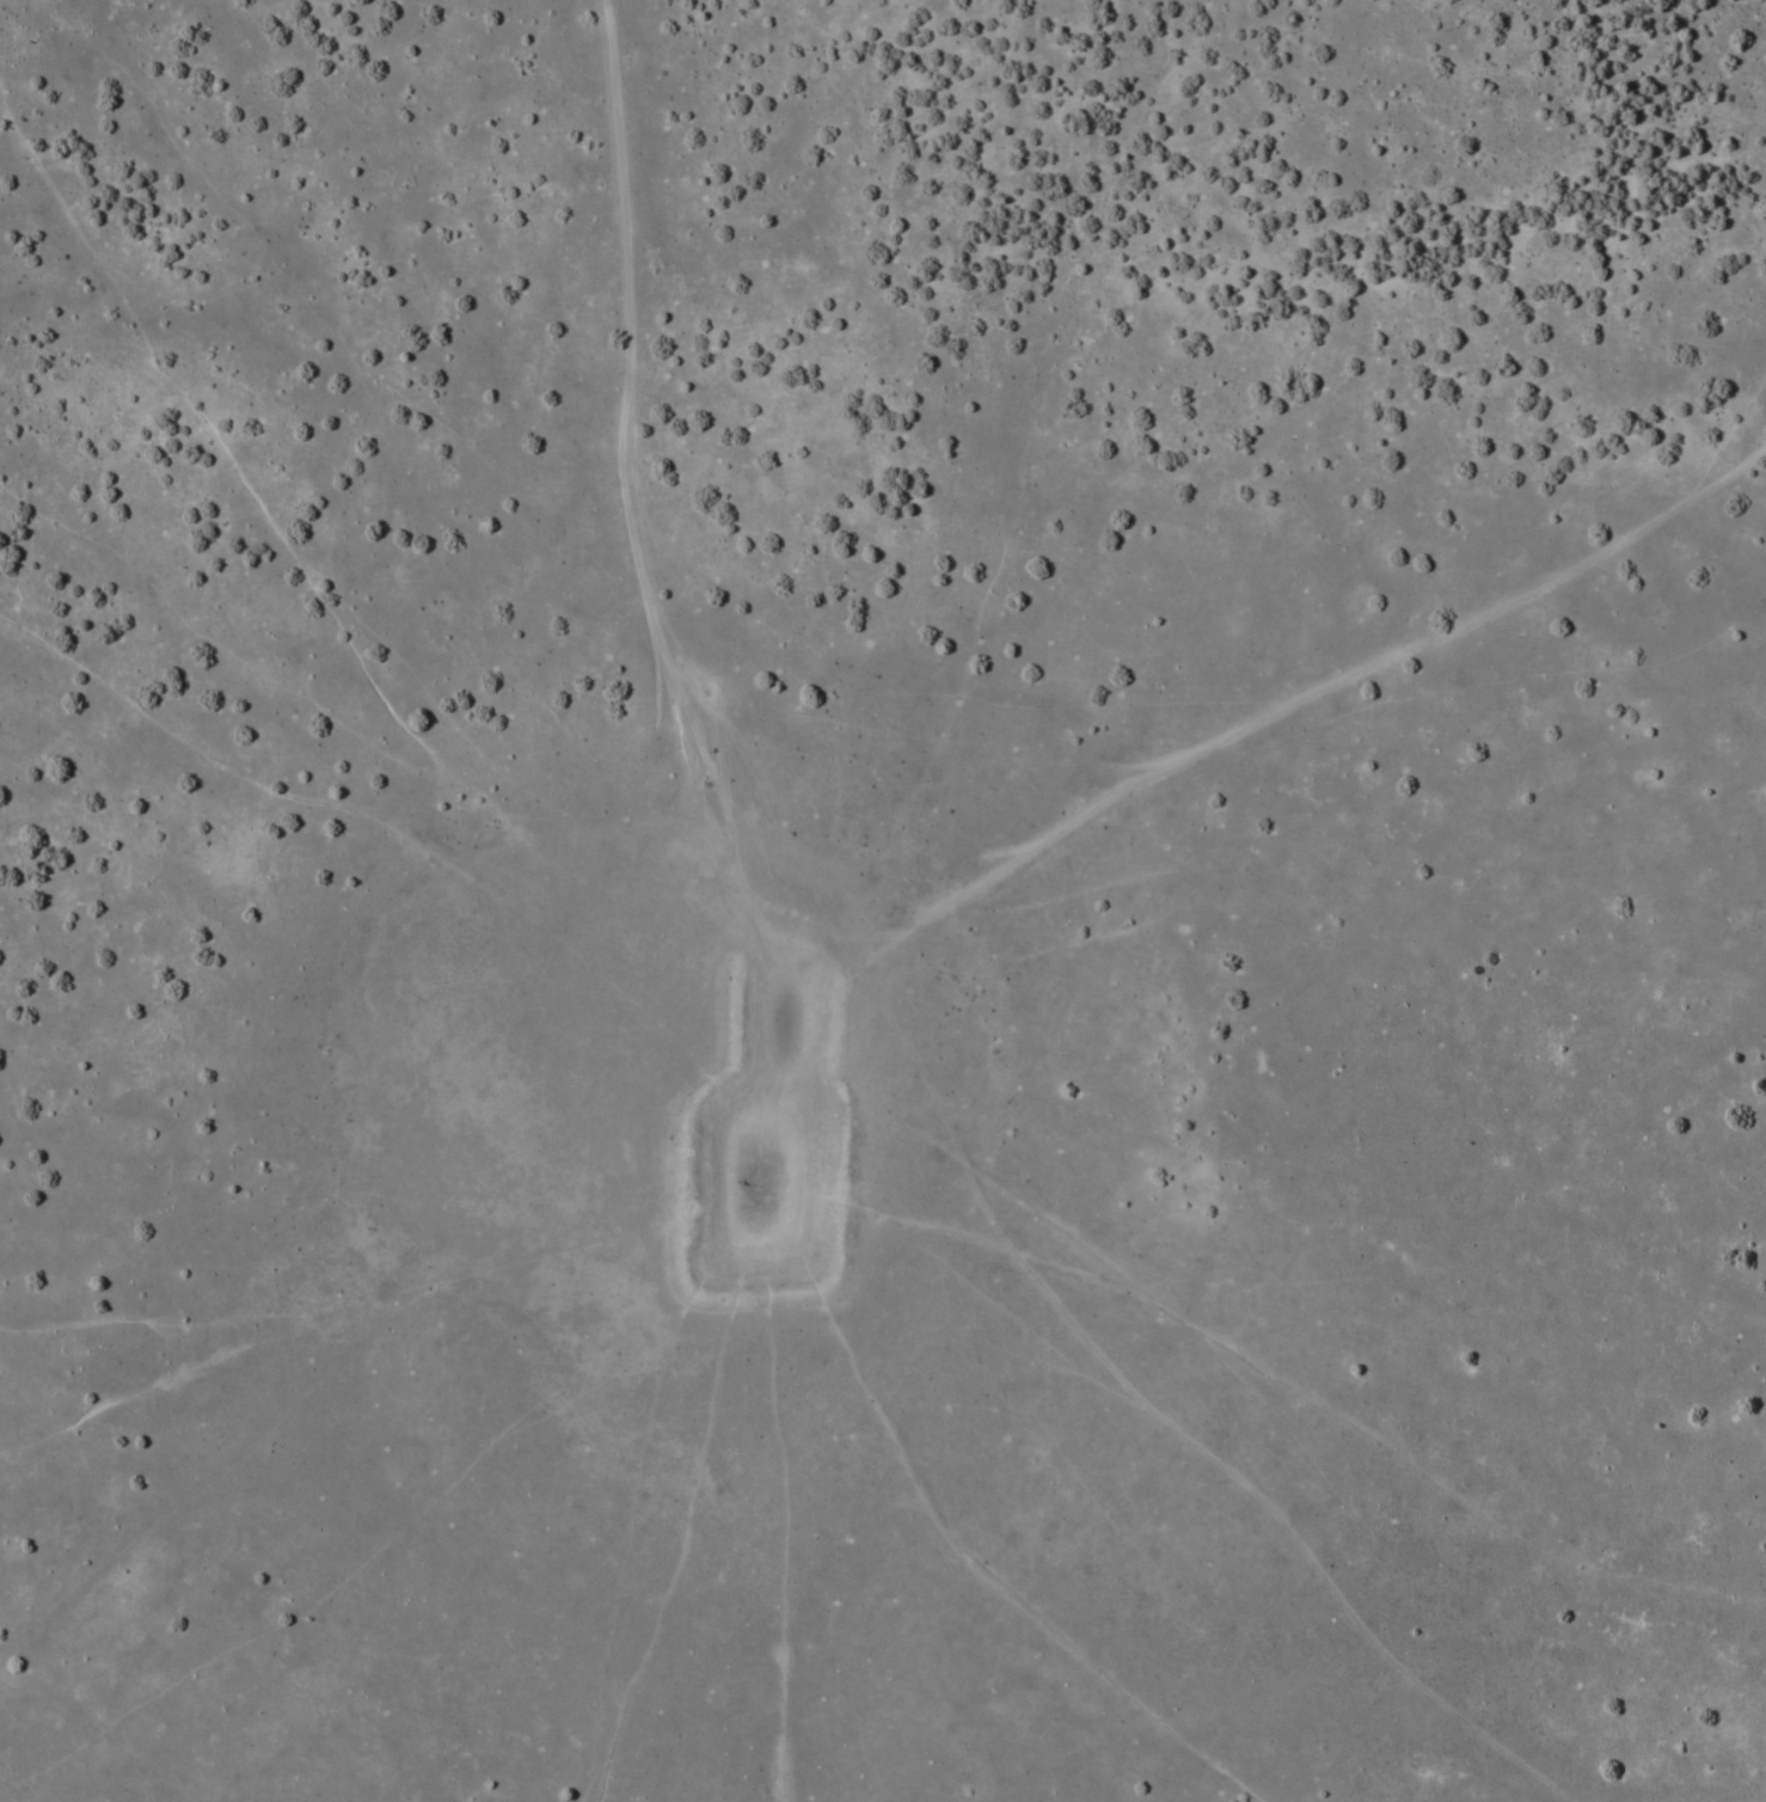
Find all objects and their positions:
road: (842, 940)

